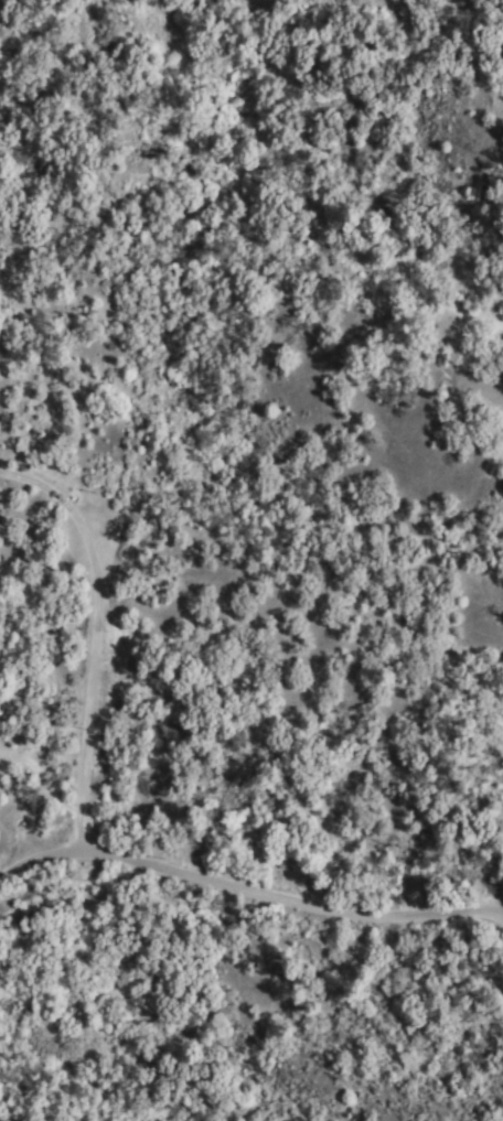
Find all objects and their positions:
road: (84, 645)
road: (246, 885)

